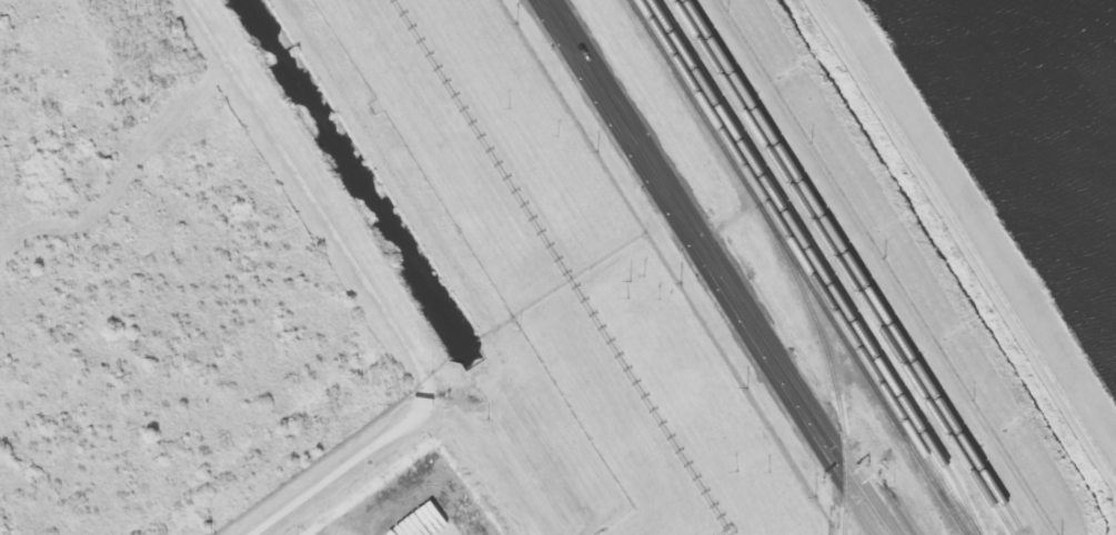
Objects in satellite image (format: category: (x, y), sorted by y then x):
railway: (701, 105)
road: (964, 242)
railway: (855, 262)
railway: (823, 265)
railway: (846, 265)
railway: (813, 266)
road: (717, 267)
road: (371, 289)
railway: (833, 366)
railway: (873, 373)

